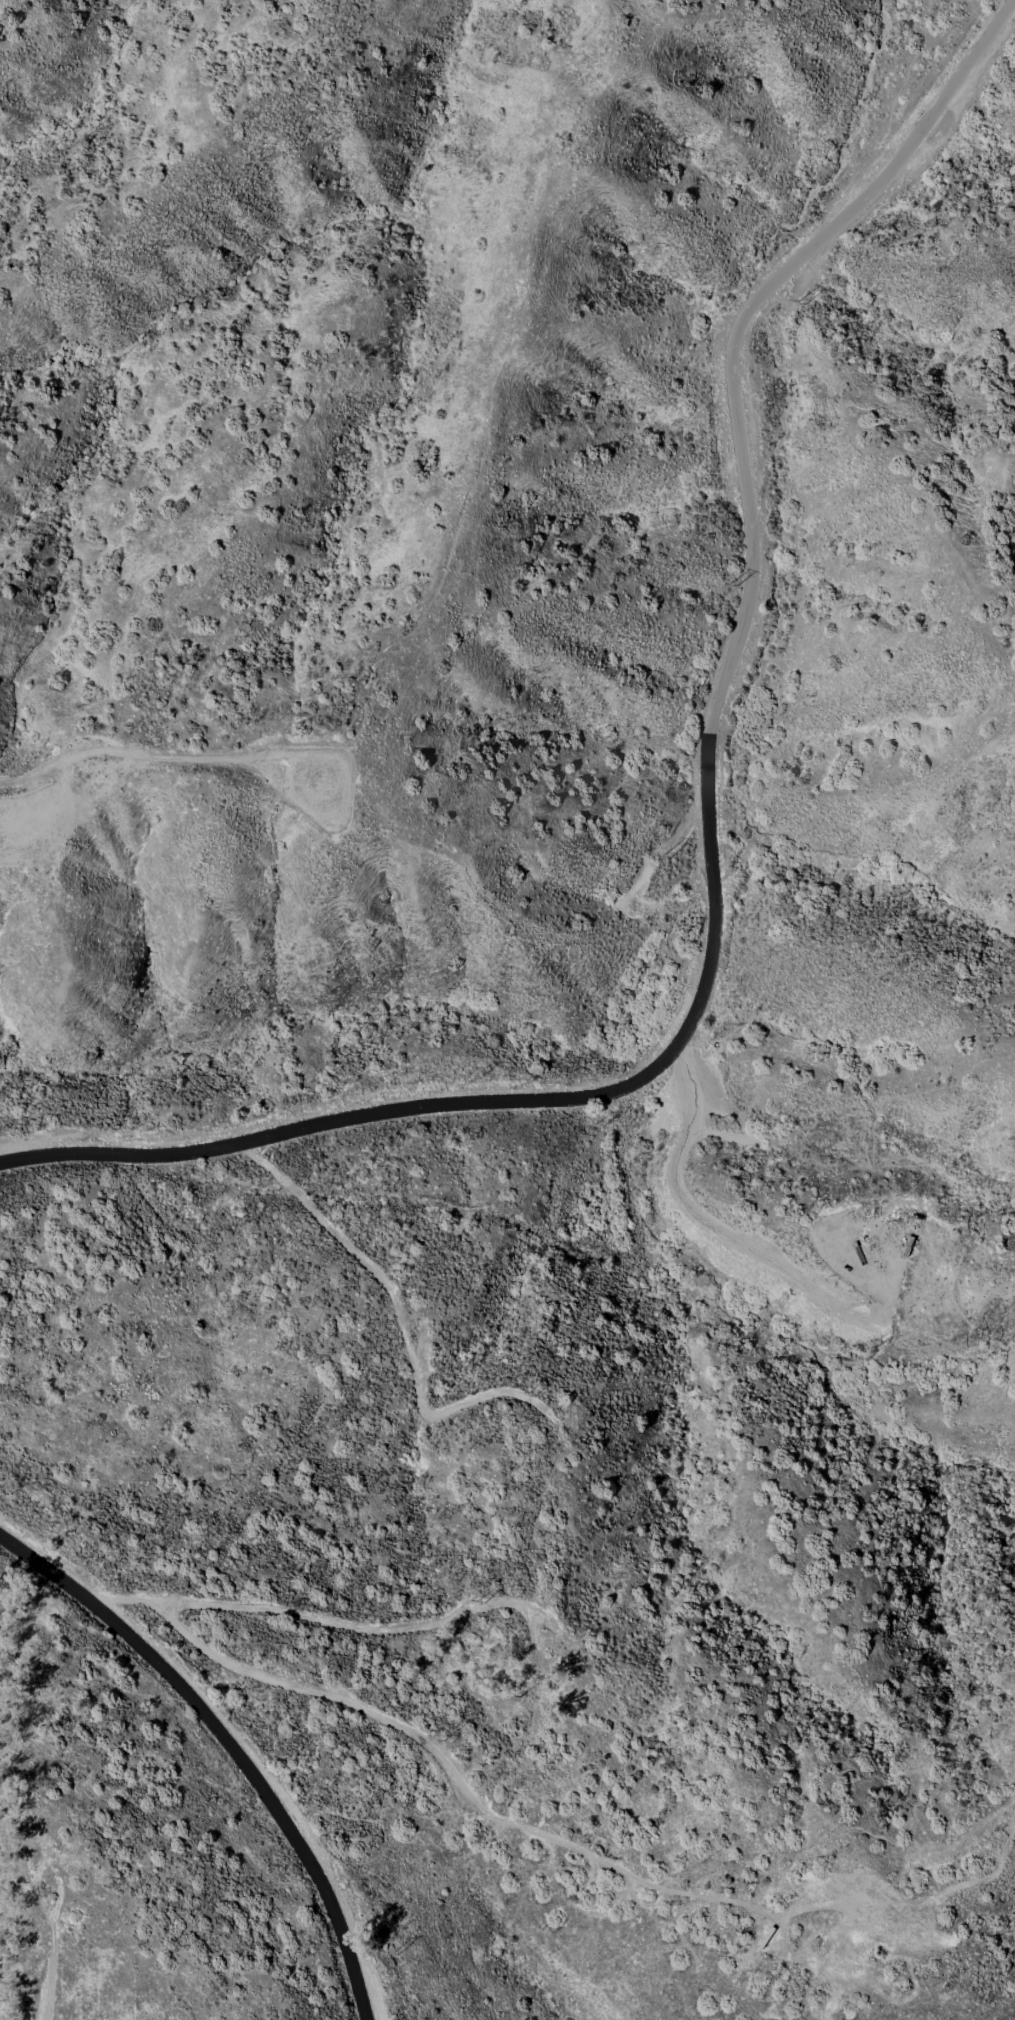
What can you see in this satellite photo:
road: (710, 821)
road: (726, 1233)
road: (367, 1626)
road: (295, 1682)
road: (229, 1744)
road: (753, 1910)

